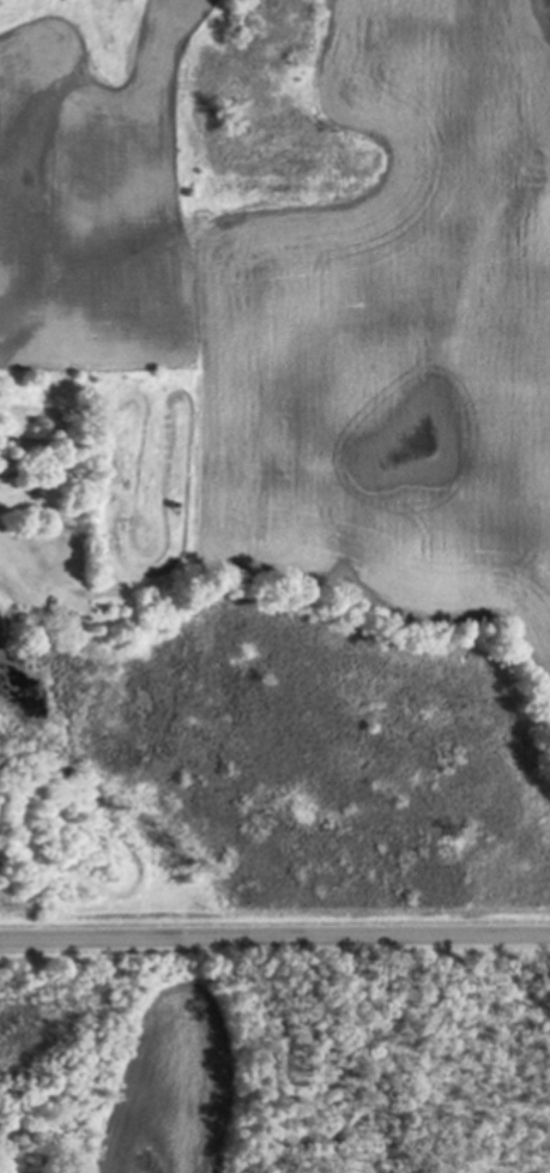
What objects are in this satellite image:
road: (274, 936)

